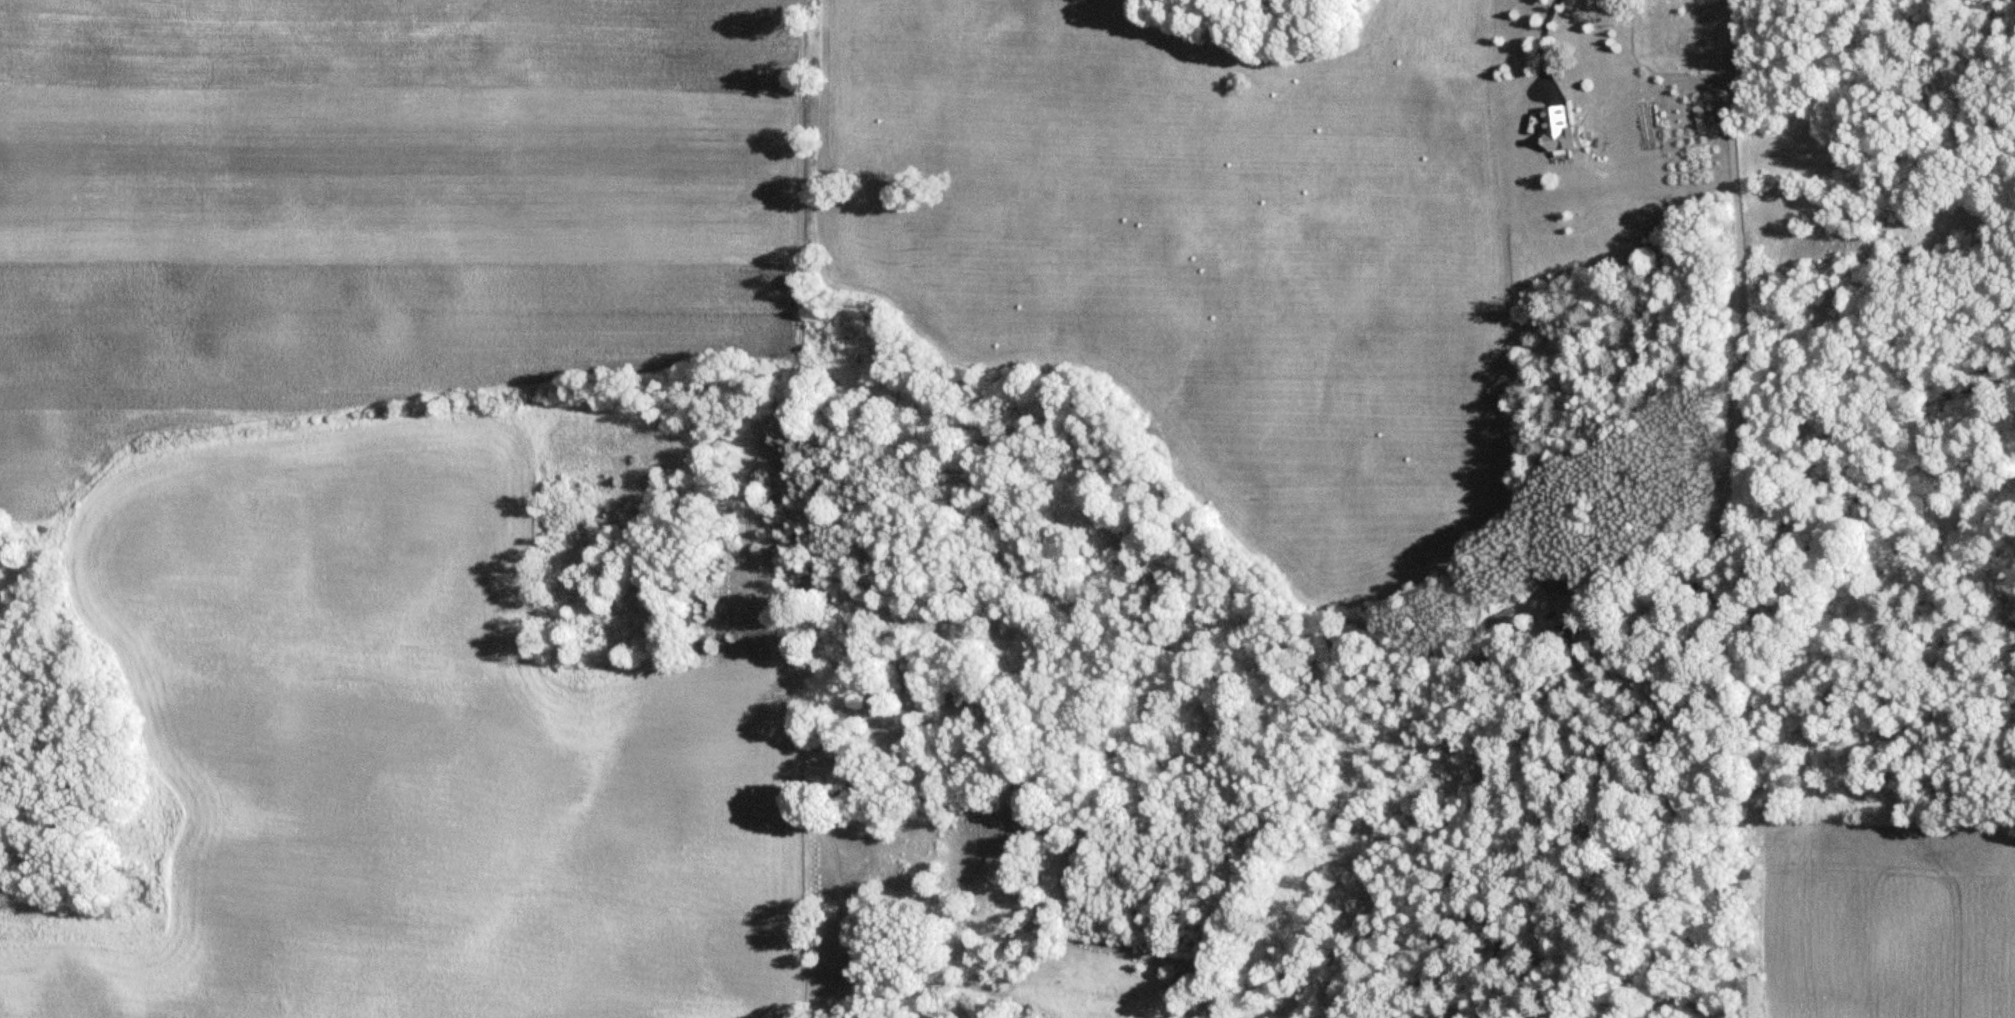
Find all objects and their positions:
road: (1542, 35)
building: (1555, 127)

